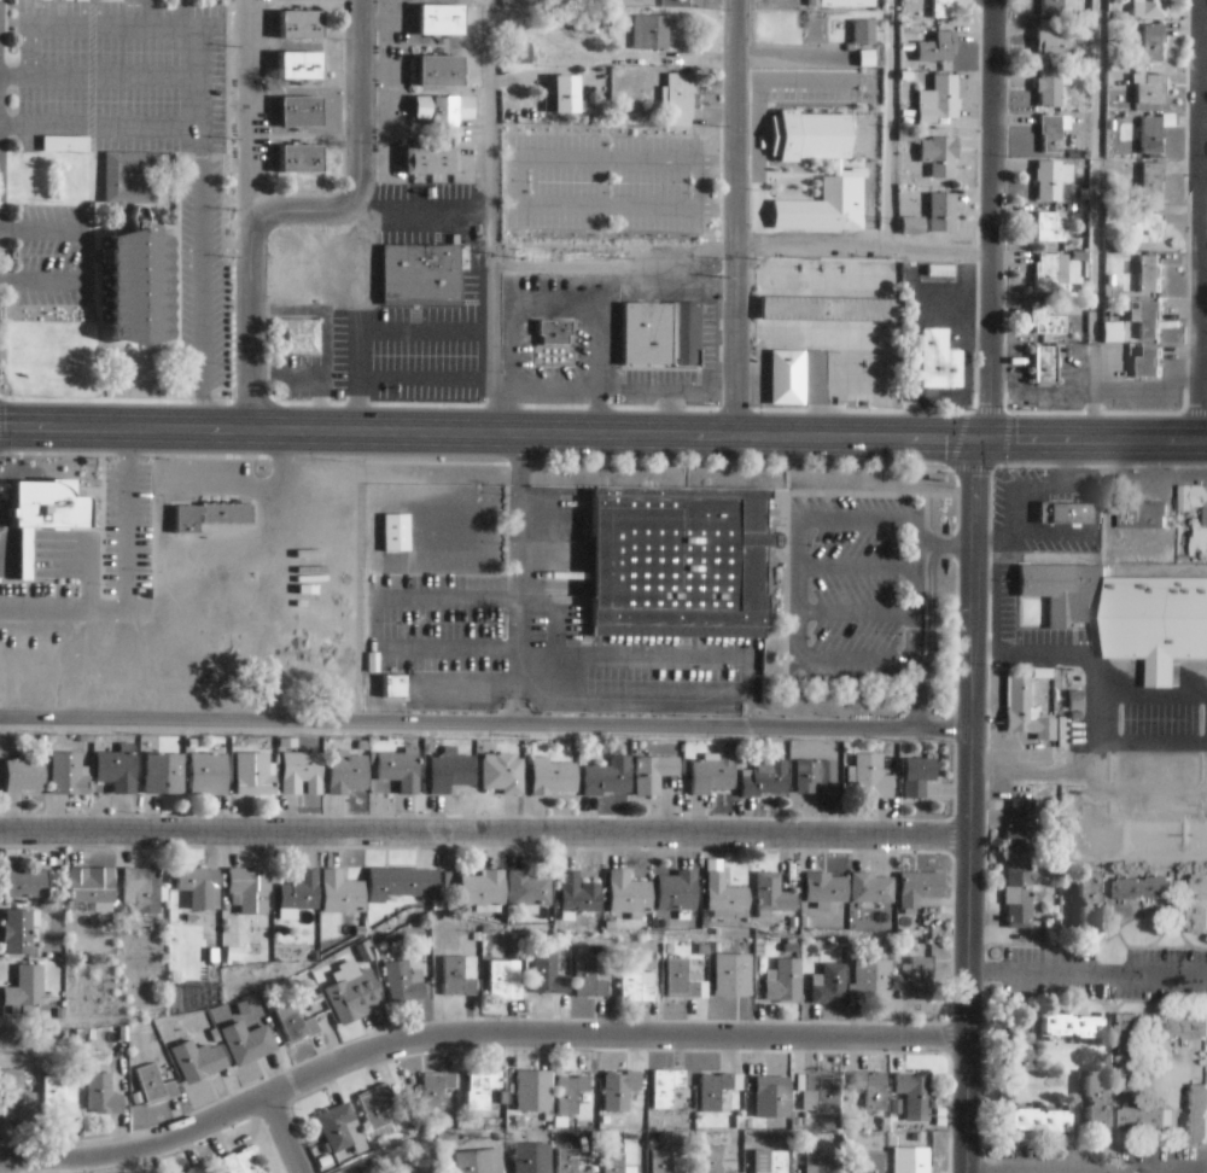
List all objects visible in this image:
building: (847, 4)
building: (1054, 8)
building: (944, 10)
building: (1153, 10)
road: (145, 16)
building: (439, 22)
building: (584, 23)
building: (299, 28)
building: (651, 34)
building: (1055, 42)
building: (1154, 45)
building: (939, 49)
building: (521, 54)
building: (298, 69)
building: (439, 75)
parking lot: (119, 77)
building: (1050, 89)
building: (1153, 92)
road: (28, 98)
building: (565, 98)
building: (680, 98)
building: (938, 103)
road: (197, 109)
building: (443, 111)
building: (299, 116)
road: (13, 123)
road: (887, 124)
building: (1053, 135)
building: (1153, 136)
building: (63, 145)
building: (940, 157)
building: (299, 162)
building: (430, 164)
building: (857, 170)
building: (113, 180)
parking lot: (607, 182)
building: (1050, 182)
building: (1153, 183)
road: (297, 208)
building: (943, 215)
road: (489, 216)
road: (735, 218)
road: (992, 220)
road: (1096, 221)
road: (1200, 221)
building: (914, 227)
building: (1051, 229)
building: (1150, 230)
road: (740, 250)
parking lot: (48, 253)
road: (80, 256)
building: (419, 273)
building: (940, 273)
parking lot: (198, 275)
building: (1049, 276)
building: (1150, 276)
building: (136, 290)
building: (832, 311)
building: (1151, 321)
building: (1048, 323)
road: (368, 327)
building: (1112, 333)
building: (554, 334)
building: (660, 338)
building: (297, 339)
building: (939, 363)
building: (1145, 363)
building: (1042, 366)
road: (421, 377)
building: (787, 381)
road: (488, 432)
road: (1091, 440)
building: (1194, 500)
building: (45, 504)
building: (1063, 513)
building: (1141, 515)
building: (209, 518)
building: (393, 532)
building: (1199, 544)
building: (23, 554)
building: (676, 558)
building: (1067, 591)
building: (392, 689)
building: (435, 691)
building: (1026, 712)
road: (486, 724)
building: (116, 772)
building: (400, 772)
building: (449, 775)
building: (23, 776)
building: (302, 776)
building: (346, 776)
building: (502, 776)
building: (654, 776)
building: (163, 777)
building: (208, 777)
building: (253, 777)
building: (711, 777)
building: (68, 778)
building: (553, 780)
building: (608, 780)
building: (919, 780)
building: (765, 781)
building: (817, 781)
building: (871, 781)
road: (972, 806)
road: (485, 831)
building: (1014, 833)
building: (400, 881)
building: (24, 882)
building: (193, 883)
building: (91, 885)
building: (483, 886)
building: (824, 886)
building: (919, 886)
building: (141, 887)
building: (247, 887)
building: (527, 887)
building: (871, 887)
building: (677, 888)
building: (299, 889)
building: (340, 891)
building: (628, 891)
building: (578, 892)
building: (724, 892)
building: (1145, 892)
building: (771, 893)
building: (1016, 897)
building: (1088, 903)
building: (1199, 905)
building: (14, 934)
building: (548, 971)
building: (733, 973)
building: (459, 974)
building: (919, 975)
building: (589, 976)
road: (1089, 976)
building: (506, 977)
building: (680, 977)
building: (873, 977)
building: (785, 979)
building: (402, 980)
building: (635, 981)
building: (829, 982)
building: (24, 985)
building: (352, 996)
building: (296, 1022)
building: (1069, 1028)
building: (1185, 1031)
road: (473, 1034)
building: (241, 1041)
building: (1132, 1047)
building: (1020, 1052)
building: (197, 1058)
building: (153, 1082)
building: (666, 1085)
building: (530, 1086)
building: (436, 1087)
building: (479, 1087)
building: (717, 1087)
building: (871, 1087)
building: (14, 1089)
building: (619, 1089)
building: (571, 1091)
building: (818, 1091)
building: (914, 1091)
building: (59, 1093)
building: (103, 1093)
building: (775, 1093)
building: (1095, 1102)
building: (375, 1104)
building: (1199, 1116)
building: (1038, 1120)
building: (1144, 1121)
building: (339, 1126)
road: (282, 1134)
building: (527, 1159)
building: (716, 1160)
building: (243, 1161)
building: (567, 1161)
building: (663, 1161)
building: (776, 1161)
building: (874, 1161)
building: (915, 1161)
building: (476, 1162)
building: (617, 1163)
building: (828, 1163)
building: (193, 1168)
building: (403, 1168)
road: (992, 1172)

